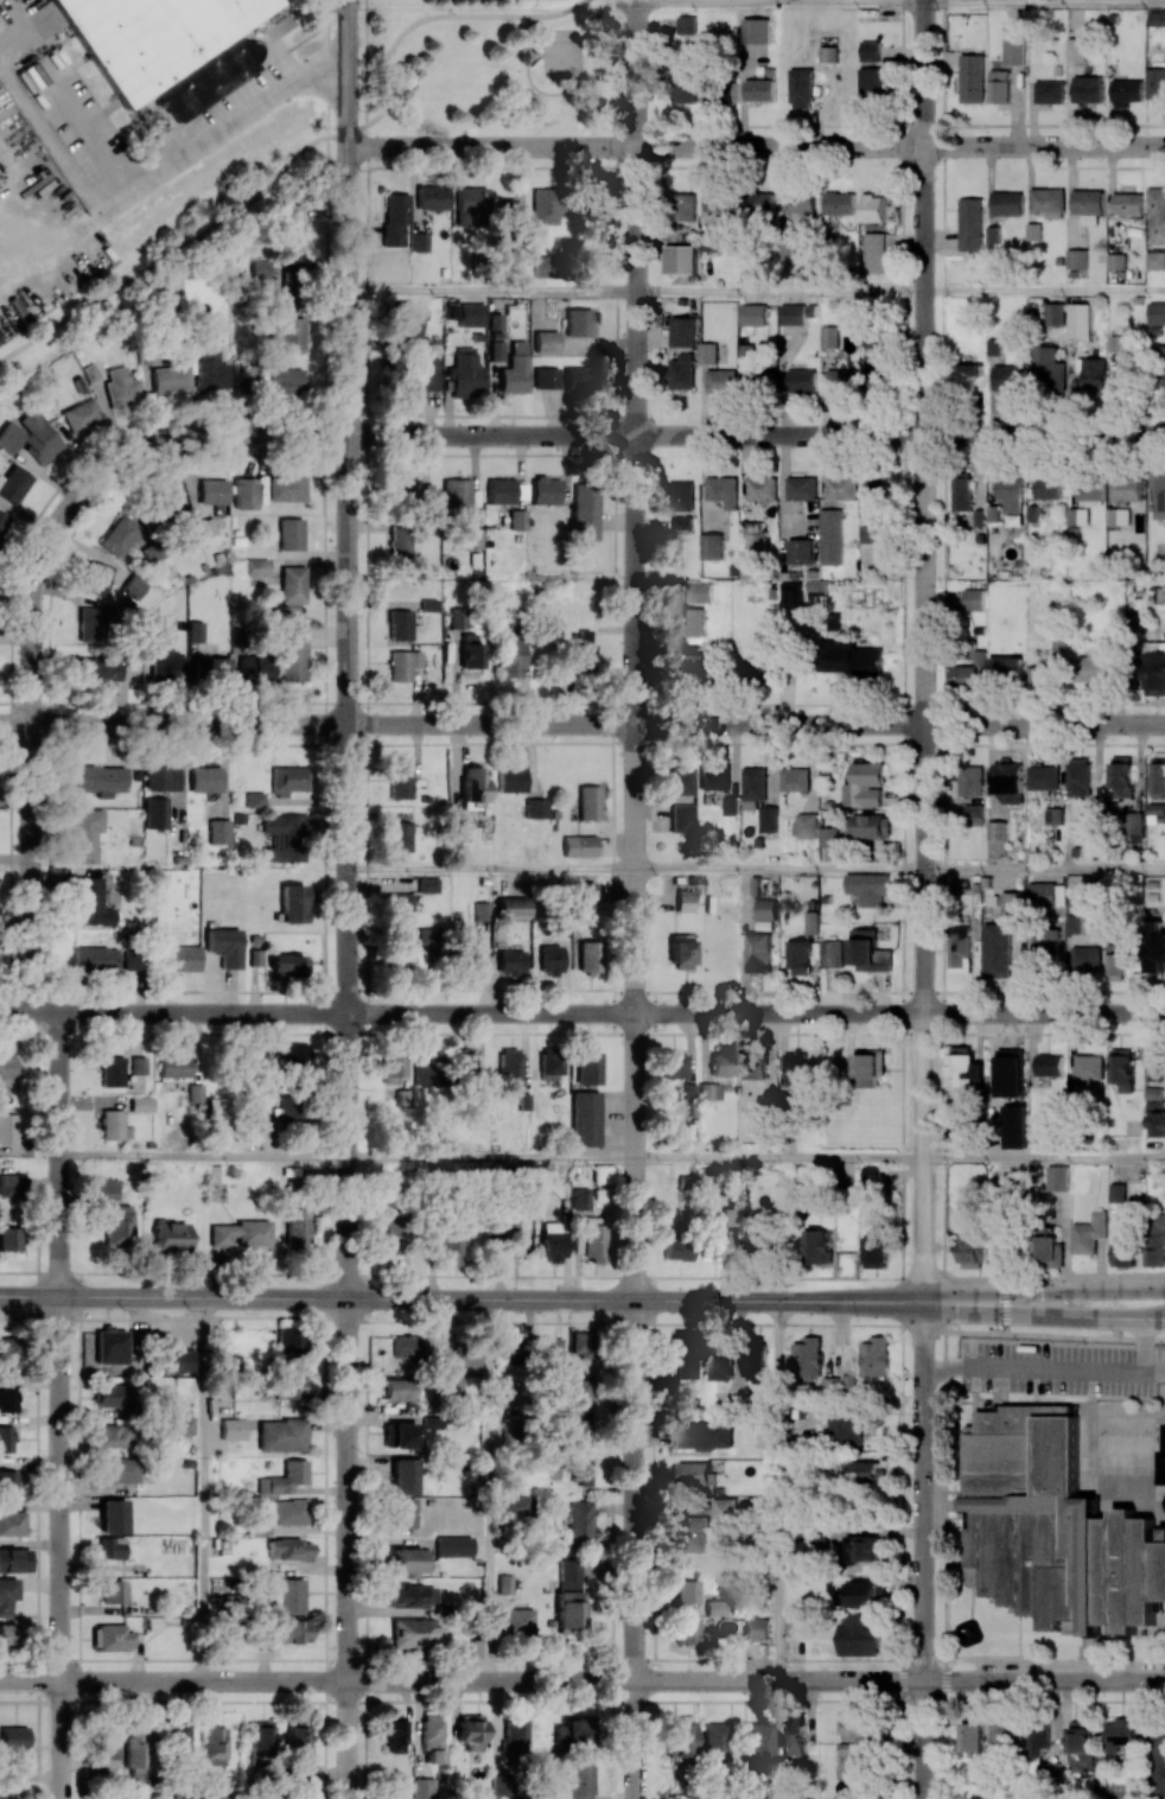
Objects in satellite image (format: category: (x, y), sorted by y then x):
road: (777, 2)
road: (1044, 4)
road: (429, 17)
building: (1157, 18)
building: (686, 25)
road: (522, 30)
building: (756, 30)
building: (152, 36)
building: (1013, 43)
building: (1075, 49)
building: (871, 50)
building: (829, 53)
road: (535, 55)
park: (490, 66)
building: (770, 70)
road: (365, 72)
building: (972, 77)
road: (572, 78)
building: (1156, 83)
building: (871, 84)
building: (999, 87)
building: (685, 88)
building: (801, 88)
road: (562, 89)
building: (759, 89)
building: (1087, 89)
building: (730, 91)
building: (1049, 91)
building: (1126, 93)
road: (617, 135)
road: (756, 145)
road: (167, 167)
building: (432, 197)
building: (719, 198)
building: (1048, 199)
building: (800, 201)
building: (1088, 202)
building: (756, 203)
building: (839, 203)
building: (1007, 203)
building: (1127, 203)
building: (545, 205)
building: (471, 206)
building: (682, 206)
building: (872, 208)
building: (508, 212)
building: (1157, 216)
building: (394, 217)
building: (970, 223)
building: (291, 227)
building: (1033, 231)
building: (992, 234)
building: (711, 240)
building: (419, 241)
building: (789, 244)
road: (177, 247)
building: (874, 253)
building: (1077, 259)
building: (680, 260)
building: (1156, 260)
building: (1116, 261)
building: (546, 266)
building: (260, 268)
road: (327, 276)
building: (746, 276)
building: (289, 284)
road: (489, 290)
road: (1044, 290)
road: (777, 291)
building: (1157, 313)
building: (752, 314)
building: (791, 314)
building: (1055, 314)
building: (580, 322)
building: (406, 329)
building: (683, 331)
building: (1156, 331)
building: (287, 333)
building: (828, 336)
building: (546, 341)
building: (517, 347)
building: (496, 350)
building: (707, 352)
building: (874, 361)
building: (1160, 365)
building: (1046, 369)
building: (1125, 369)
building: (681, 371)
building: (1091, 371)
building: (90, 373)
building: (465, 373)
building: (211, 374)
building: (967, 374)
building: (514, 375)
building: (757, 376)
building: (420, 377)
building: (545, 377)
building: (1007, 377)
building: (167, 379)
building: (577, 379)
building: (286, 380)
building: (720, 381)
building: (801, 381)
building: (840, 381)
building: (121, 388)
building: (81, 414)
road: (756, 434)
building: (30, 437)
road: (95, 479)
building: (13, 483)
building: (1046, 487)
building: (286, 488)
building: (762, 488)
building: (801, 488)
building: (841, 488)
building: (1088, 488)
building: (543, 489)
building: (1128, 489)
building: (499, 490)
building: (721, 490)
building: (212, 491)
building: (244, 492)
building: (408, 492)
building: (961, 492)
building: (1010, 492)
building: (456, 495)
building: (681, 495)
building: (1158, 495)
building: (164, 503)
building: (584, 511)
building: (871, 511)
building: (1077, 516)
building: (1118, 517)
building: (516, 519)
building: (4, 522)
building: (681, 525)
building: (205, 527)
building: (291, 533)
building: (119, 535)
building: (830, 536)
building: (471, 539)
building: (399, 540)
building: (755, 541)
building: (711, 546)
building: (800, 551)
building: (256, 567)
building: (95, 578)
building: (292, 584)
building: (134, 586)
building: (695, 592)
building: (791, 595)
building: (973, 599)
building: (428, 604)
building: (689, 622)
building: (91, 624)
building: (399, 624)
building: (159, 628)
building: (195, 630)
road: (346, 648)
building: (579, 649)
building: (471, 650)
road: (632, 650)
road: (923, 650)
building: (293, 651)
building: (510, 657)
building: (849, 659)
building: (402, 663)
building: (692, 665)
building: (164, 666)
building: (1097, 666)
building: (98, 667)
building: (757, 667)
building: (255, 668)
building: (1005, 668)
building: (211, 669)
building: (1153, 674)
building: (1039, 675)
building: (962, 676)
road: (902, 688)
road: (172, 723)
road: (756, 723)
building: (1158, 776)
building: (160, 777)
building: (1043, 777)
building: (1078, 777)
building: (1121, 777)
building: (100, 778)
building: (205, 778)
building: (288, 778)
building: (510, 778)
building: (713, 778)
building: (681, 780)
building: (795, 780)
building: (972, 781)
building: (1007, 782)
building: (399, 783)
building: (473, 783)
building: (864, 784)
building: (752, 787)
building: (254, 799)
building: (588, 802)
building: (730, 805)
building: (535, 808)
building: (155, 812)
building: (1156, 813)
building: (682, 818)
building: (768, 819)
building: (804, 825)
building: (871, 826)
building: (1132, 827)
building: (218, 831)
building: (85, 834)
building: (400, 835)
building: (284, 837)
building: (828, 837)
building: (997, 839)
building: (584, 845)
road: (33, 866)
road: (489, 867)
road: (1044, 867)
road: (777, 869)
building: (426, 884)
building: (867, 888)
building: (582, 895)
building: (1046, 895)
building: (685, 901)
building: (91, 902)
building: (293, 903)
building: (1012, 904)
building: (511, 907)
building: (400, 908)
building: (480, 910)
building: (765, 914)
building: (1075, 924)
building: (1046, 945)
building: (224, 946)
building: (1154, 947)
building: (410, 949)
building: (960, 949)
building: (997, 951)
building: (680, 952)
building: (758, 952)
building: (868, 952)
building: (830, 953)
building: (798, 955)
building: (475, 956)
building: (588, 956)
building: (184, 958)
building: (95, 959)
building: (132, 959)
building: (549, 959)
building: (1086, 959)
building: (1115, 960)
building: (510, 961)
building: (287, 964)
road: (173, 1011)
road: (756, 1012)
building: (292, 1051)
building: (469, 1062)
building: (724, 1063)
building: (1048, 1064)
building: (138, 1066)
building: (173, 1066)
building: (509, 1066)
building: (548, 1066)
building: (587, 1066)
building: (673, 1066)
building: (1157, 1066)
building: (393, 1067)
building: (868, 1067)
building: (963, 1067)
building: (1089, 1067)
building: (755, 1068)
building: (1121, 1068)
building: (112, 1070)
building: (796, 1070)
building: (425, 1072)
building: (6, 1073)
building: (1010, 1073)
building: (709, 1089)
building: (140, 1104)
building: (289, 1108)
building: (212, 1113)
building: (1156, 1113)
building: (587, 1119)
building: (112, 1124)
building: (257, 1124)
building: (1013, 1126)
building: (7, 1127)
road: (58, 1153)
road: (202, 1155)
road: (489, 1157)
road: (777, 1157)
road: (1044, 1158)
building: (871, 1174)
building: (1056, 1177)
building: (8, 1184)
building: (108, 1188)
building: (1116, 1193)
building: (581, 1199)
building: (727, 1216)
building: (117, 1225)
building: (297, 1229)
building: (238, 1233)
building: (1089, 1233)
building: (513, 1234)
building: (170, 1237)
building: (393, 1237)
building: (9, 1238)
building: (590, 1238)
building: (1156, 1239)
building: (550, 1242)
building: (757, 1242)
building: (451, 1246)
building: (715, 1246)
building: (817, 1246)
building: (677, 1247)
building: (874, 1250)
building: (972, 1251)
building: (1049, 1251)
building: (1123, 1253)
road: (1040, 1291)
traffic signals: (1004, 1292)
road: (173, 1297)
road: (631, 1301)
road: (903, 1302)
road: (1004, 1305)
traffic signals: (1004, 1311)
road: (1040, 1312)
road: (1083, 1336)
building: (288, 1341)
building: (582, 1343)
building: (109, 1346)
building: (406, 1346)
building: (8, 1348)
building: (546, 1350)
building: (686, 1356)
building: (808, 1356)
building: (755, 1359)
building: (180, 1360)
building: (876, 1360)
building: (721, 1362)
building: (454, 1384)
building: (289, 1387)
building: (400, 1388)
building: (580, 1391)
building: (113, 1396)
building: (513, 1396)
building: (7, 1400)
building: (174, 1425)
building: (845, 1428)
building: (233, 1429)
building: (581, 1429)
building: (112, 1435)
building: (281, 1435)
building: (405, 1435)
building: (704, 1435)
building: (5, 1438)
road: (902, 1451)
building: (119, 1469)
building: (581, 1470)
building: (867, 1471)
building: (693, 1474)
building: (403, 1475)
building: (284, 1477)
building: (9, 1481)
road: (202, 1488)
road: (490, 1489)
road: (777, 1489)
road: (1152, 1501)
building: (516, 1505)
building: (286, 1511)
building: (724, 1511)
building: (403, 1513)
building: (113, 1515)
building: (12, 1523)
building: (579, 1523)
building: (260, 1527)
building: (1052, 1527)
building: (695, 1534)
building: (453, 1546)
road: (58, 1547)
building: (110, 1547)
road: (346, 1547)
building: (288, 1549)
road: (918, 1549)
road: (634, 1550)
building: (864, 1550)
building: (14, 1559)
building: (409, 1560)
building: (569, 1574)
building: (505, 1583)
building: (112, 1590)
building: (687, 1591)
building: (6, 1593)
building: (289, 1595)
building: (409, 1595)
building: (868, 1595)
road: (942, 1607)
building: (569, 1609)
building: (518, 1620)
building: (796, 1626)
building: (755, 1628)
building: (293, 1630)
building: (414, 1632)
road: (1154, 1633)
building: (6, 1634)
building: (687, 1635)
building: (110, 1636)
building: (860, 1636)
building: (477, 1648)
road: (756, 1679)
road: (173, 1680)
building: (858, 1725)
building: (575, 1730)
building: (471, 1731)
building: (393, 1734)
building: (1005, 1734)
building: (514, 1735)
building: (1121, 1735)
building: (791, 1736)
building: (972, 1736)
building: (13, 1737)
building: (432, 1737)
building: (679, 1737)
building: (1038, 1740)
building: (297, 1741)
building: (714, 1741)
building: (177, 1742)
building: (261, 1742)
building: (759, 1743)
building: (1080, 1744)
building: (215, 1746)
building: (106, 1749)
building: (135, 1750)
building: (1158, 1761)
building: (1046, 1769)
building: (578, 1781)
building: (499, 1785)
building: (422, 1787)
building: (215, 1793)

